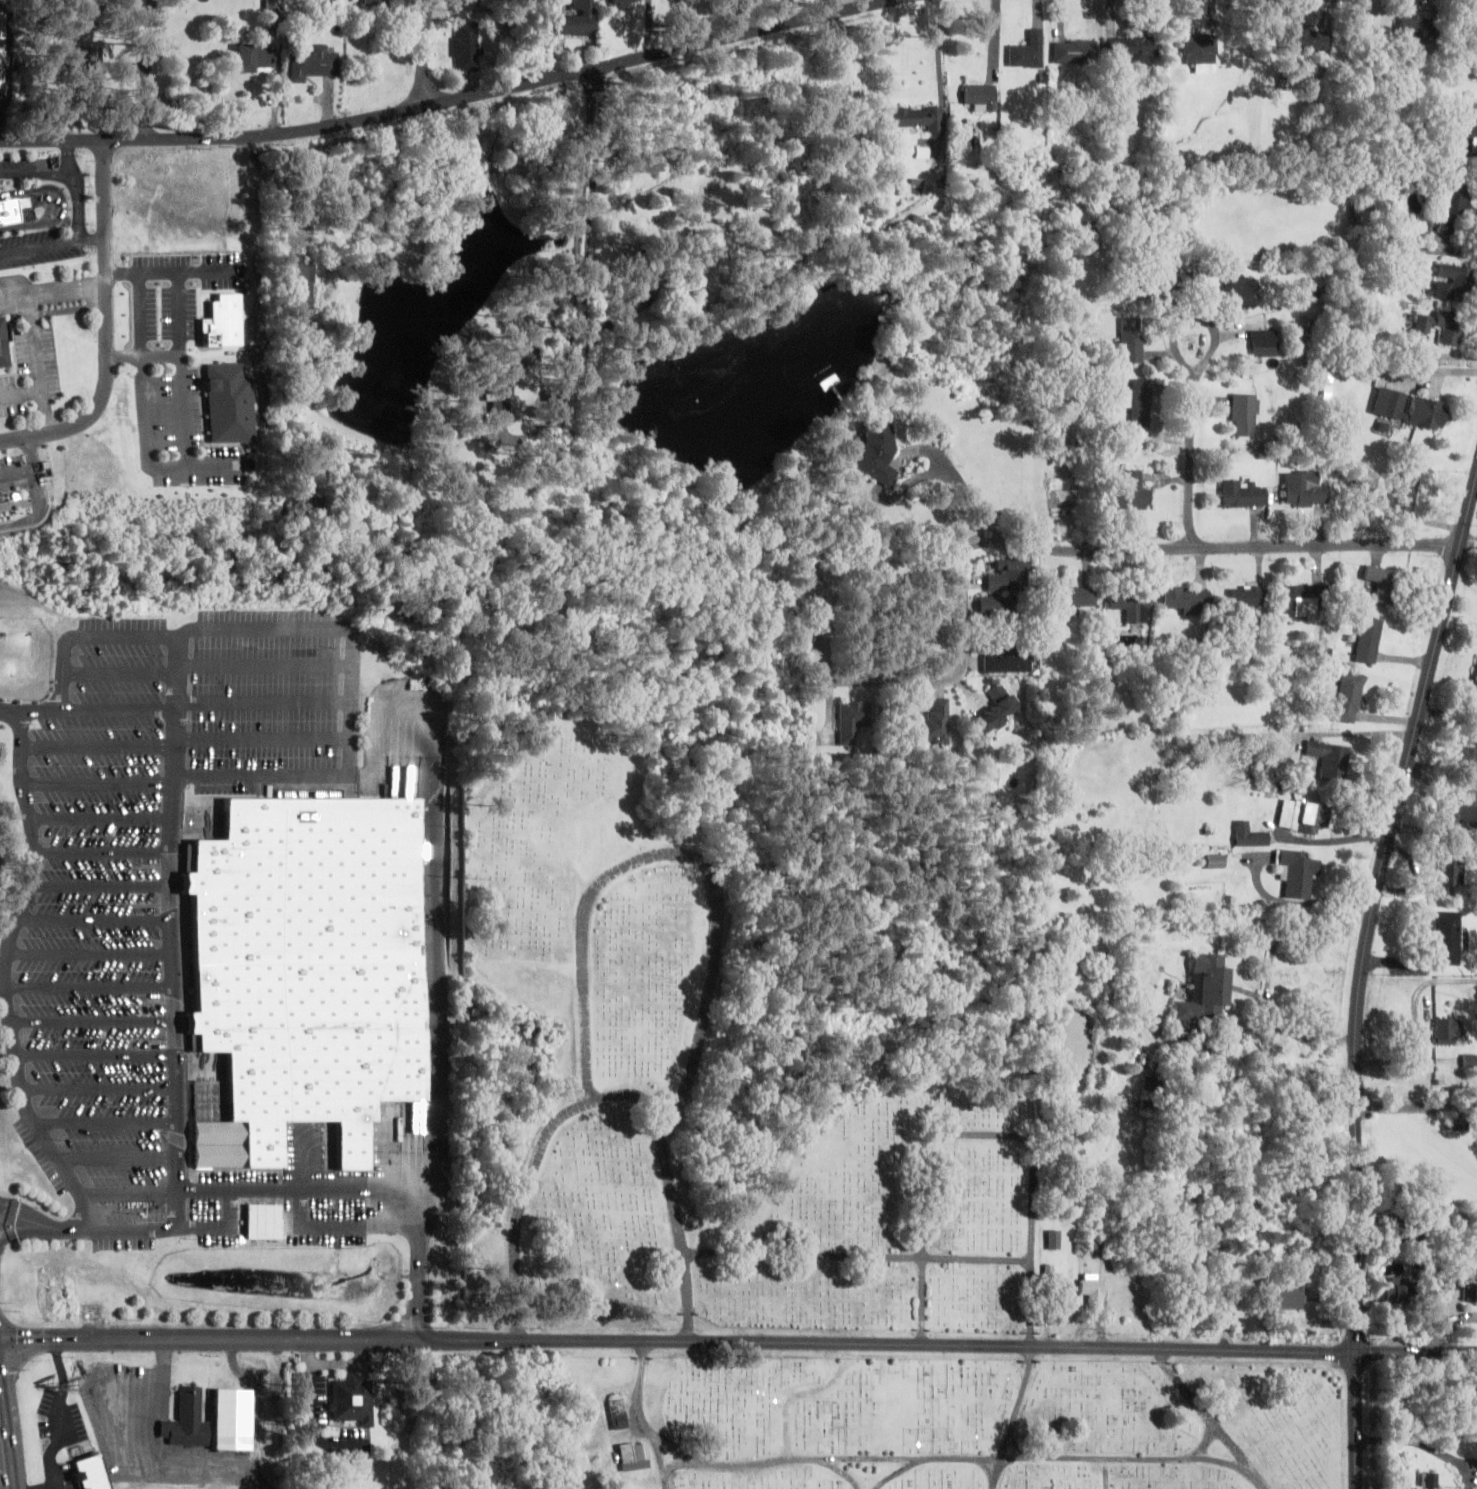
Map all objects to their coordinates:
building: (479, 1)
building: (375, 2)
building: (624, 3)
road: (828, 5)
building: (273, 11)
building: (580, 18)
building: (1414, 27)
building: (1307, 40)
building: (1, 45)
building: (466, 46)
building: (1135, 47)
road: (423, 51)
building: (1028, 51)
building: (1076, 51)
road: (647, 52)
building: (1201, 53)
building: (256, 57)
building: (78, 58)
building: (313, 63)
road: (940, 81)
building: (981, 97)
building: (906, 117)
building: (1471, 128)
road: (212, 135)
road: (68, 156)
parking lot: (25, 166)
road: (26, 170)
road: (80, 199)
road: (64, 201)
building: (9, 208)
building: (1453, 208)
building: (1360, 213)
road: (90, 234)
road: (33, 245)
parking lot: (37, 245)
building: (1452, 282)
building: (1242, 290)
building: (297, 293)
building: (630, 296)
road: (573, 304)
road: (1196, 316)
road: (108, 324)
building: (1443, 326)
building: (1131, 339)
building: (1263, 341)
building: (2, 345)
building: (1139, 402)
building: (1409, 408)
building: (1245, 415)
building: (878, 451)
road: (1192, 462)
building: (1305, 489)
building: (1134, 491)
building: (1243, 493)
building: (0, 494)
building: (1404, 497)
road: (1211, 547)
building: (1010, 575)
building: (1384, 583)
building: (1248, 595)
building: (1074, 599)
building: (1188, 599)
building: (1304, 599)
building: (1131, 605)
building: (1001, 606)
road: (342, 629)
building: (1368, 641)
building: (1006, 662)
road: (267, 665)
road: (177, 670)
road: (120, 672)
building: (1476, 677)
road: (908, 681)
building: (1350, 697)
road: (267, 702)
road: (87, 707)
building: (993, 717)
building: (852, 720)
building: (935, 722)
road: (265, 737)
road: (99, 743)
building: (1330, 758)
road: (99, 781)
building: (1460, 808)
road: (102, 815)
building: (1304, 816)
building: (1250, 835)
road: (103, 849)
road: (683, 855)
building: (1216, 861)
building: (1298, 873)
building: (1449, 876)
road: (101, 883)
parking lot: (159, 892)
road: (439, 904)
road: (94, 917)
building: (1448, 938)
road: (88, 951)
building: (314, 962)
road: (173, 967)
road: (1, 973)
road: (1362, 980)
road: (87, 985)
building: (1206, 989)
road: (88, 1020)
building: (1448, 1032)
road: (90, 1052)
building: (1469, 1060)
road: (93, 1086)
road: (610, 1097)
road: (100, 1120)
road: (111, 1155)
road: (923, 1188)
road: (358, 1190)
road: (123, 1192)
park: (779, 1193)
road: (231, 1207)
building: (267, 1216)
road: (202, 1224)
road: (342, 1224)
road: (85, 1226)
road: (27, 1228)
building: (1401, 1230)
building: (1054, 1239)
building: (1094, 1250)
road: (858, 1257)
building: (1453, 1279)
building: (1397, 1290)
building: (1093, 1292)
building: (1474, 1293)
building: (1289, 1297)
road: (1032, 1321)
road: (678, 1344)
road: (1417, 1355)
road: (167, 1371)
building: (351, 1400)
road: (790, 1405)
building: (618, 1413)
building: (235, 1416)
building: (189, 1417)
road: (643, 1417)
road: (1210, 1420)
road: (670, 1446)
building: (633, 1455)
road: (1052, 1461)
road: (803, 1462)
road: (1224, 1465)
road: (2, 1467)
road: (673, 1467)
building: (93, 1471)
road: (839, 1472)
road: (1108, 1474)

